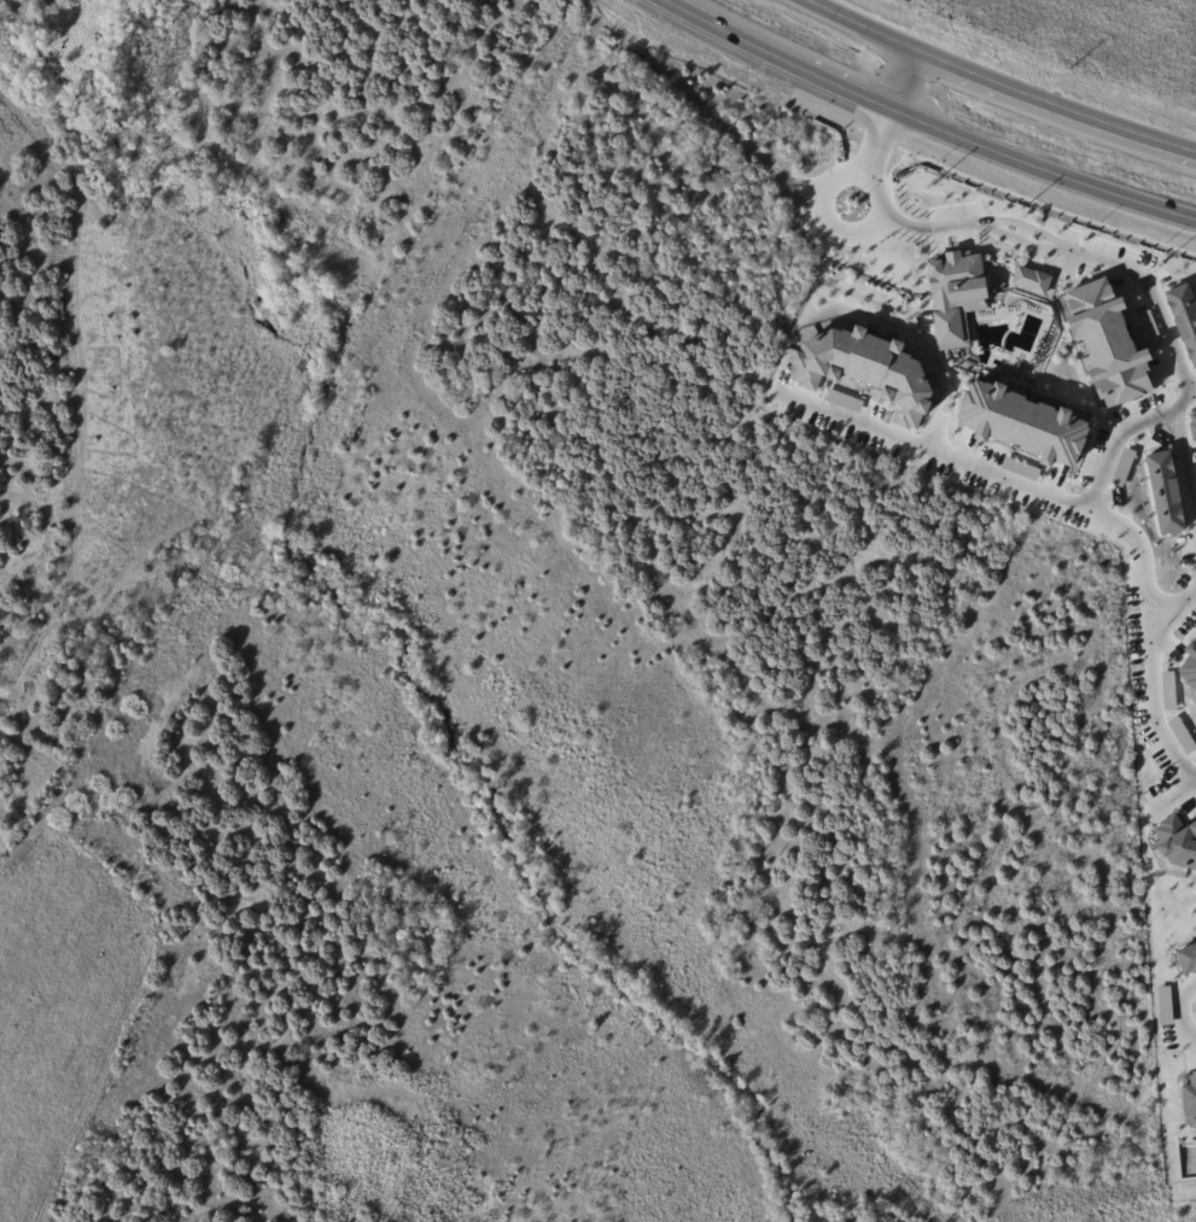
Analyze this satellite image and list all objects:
road: (860, 25)
road: (774, 58)
road: (903, 82)
road: (1055, 104)
road: (1040, 173)
road: (1017, 230)
building: (1031, 280)
building: (956, 294)
building: (1184, 316)
building: (1109, 343)
building: (865, 369)
building: (1023, 422)
building: (1192, 423)
road: (1183, 456)
road: (1019, 480)
building: (1166, 492)
road: (1178, 607)
road: (1153, 635)
building: (1189, 663)
building: (1178, 842)
building: (1188, 959)
road: (1184, 1007)
building: (1190, 1098)
road: (1188, 1185)

